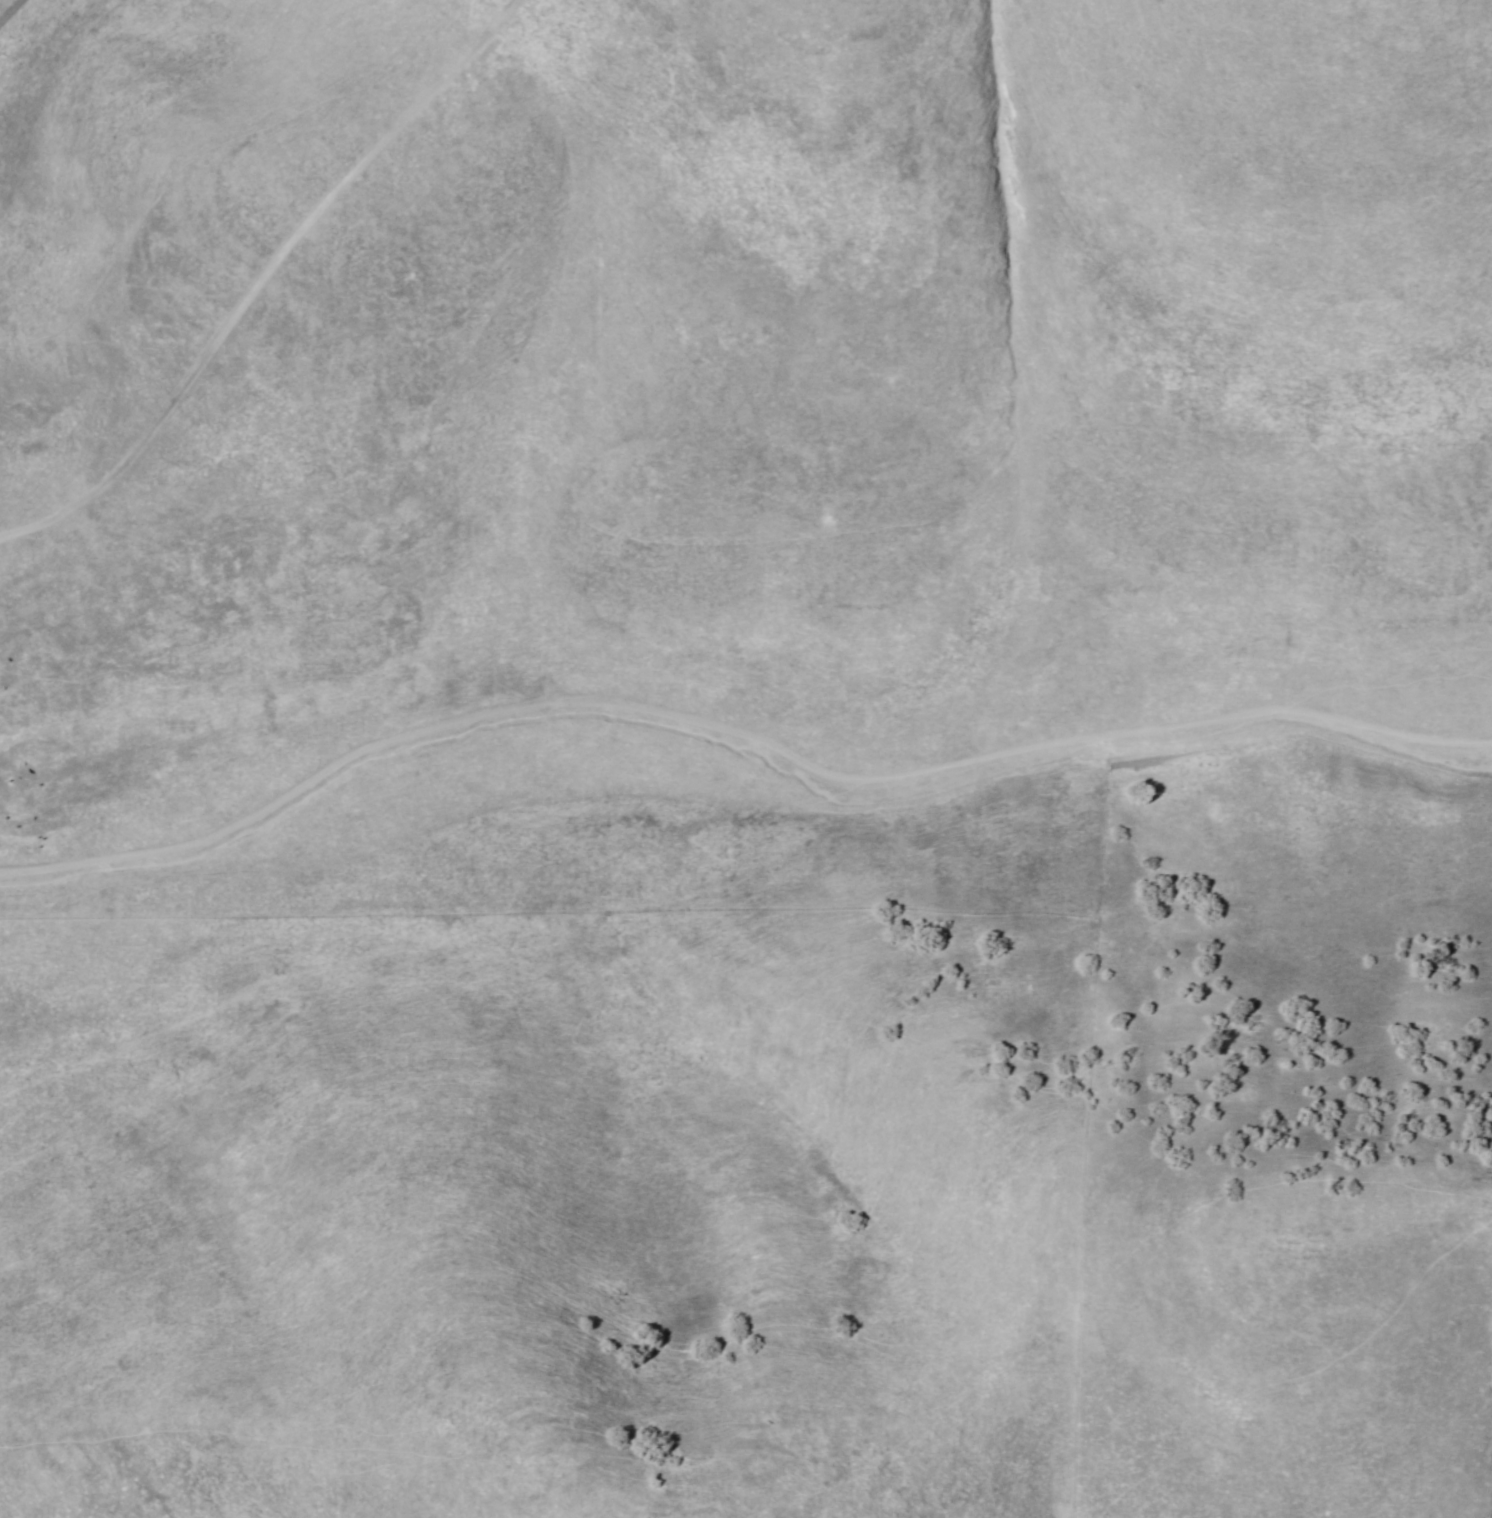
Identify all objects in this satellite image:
road: (23, 28)

